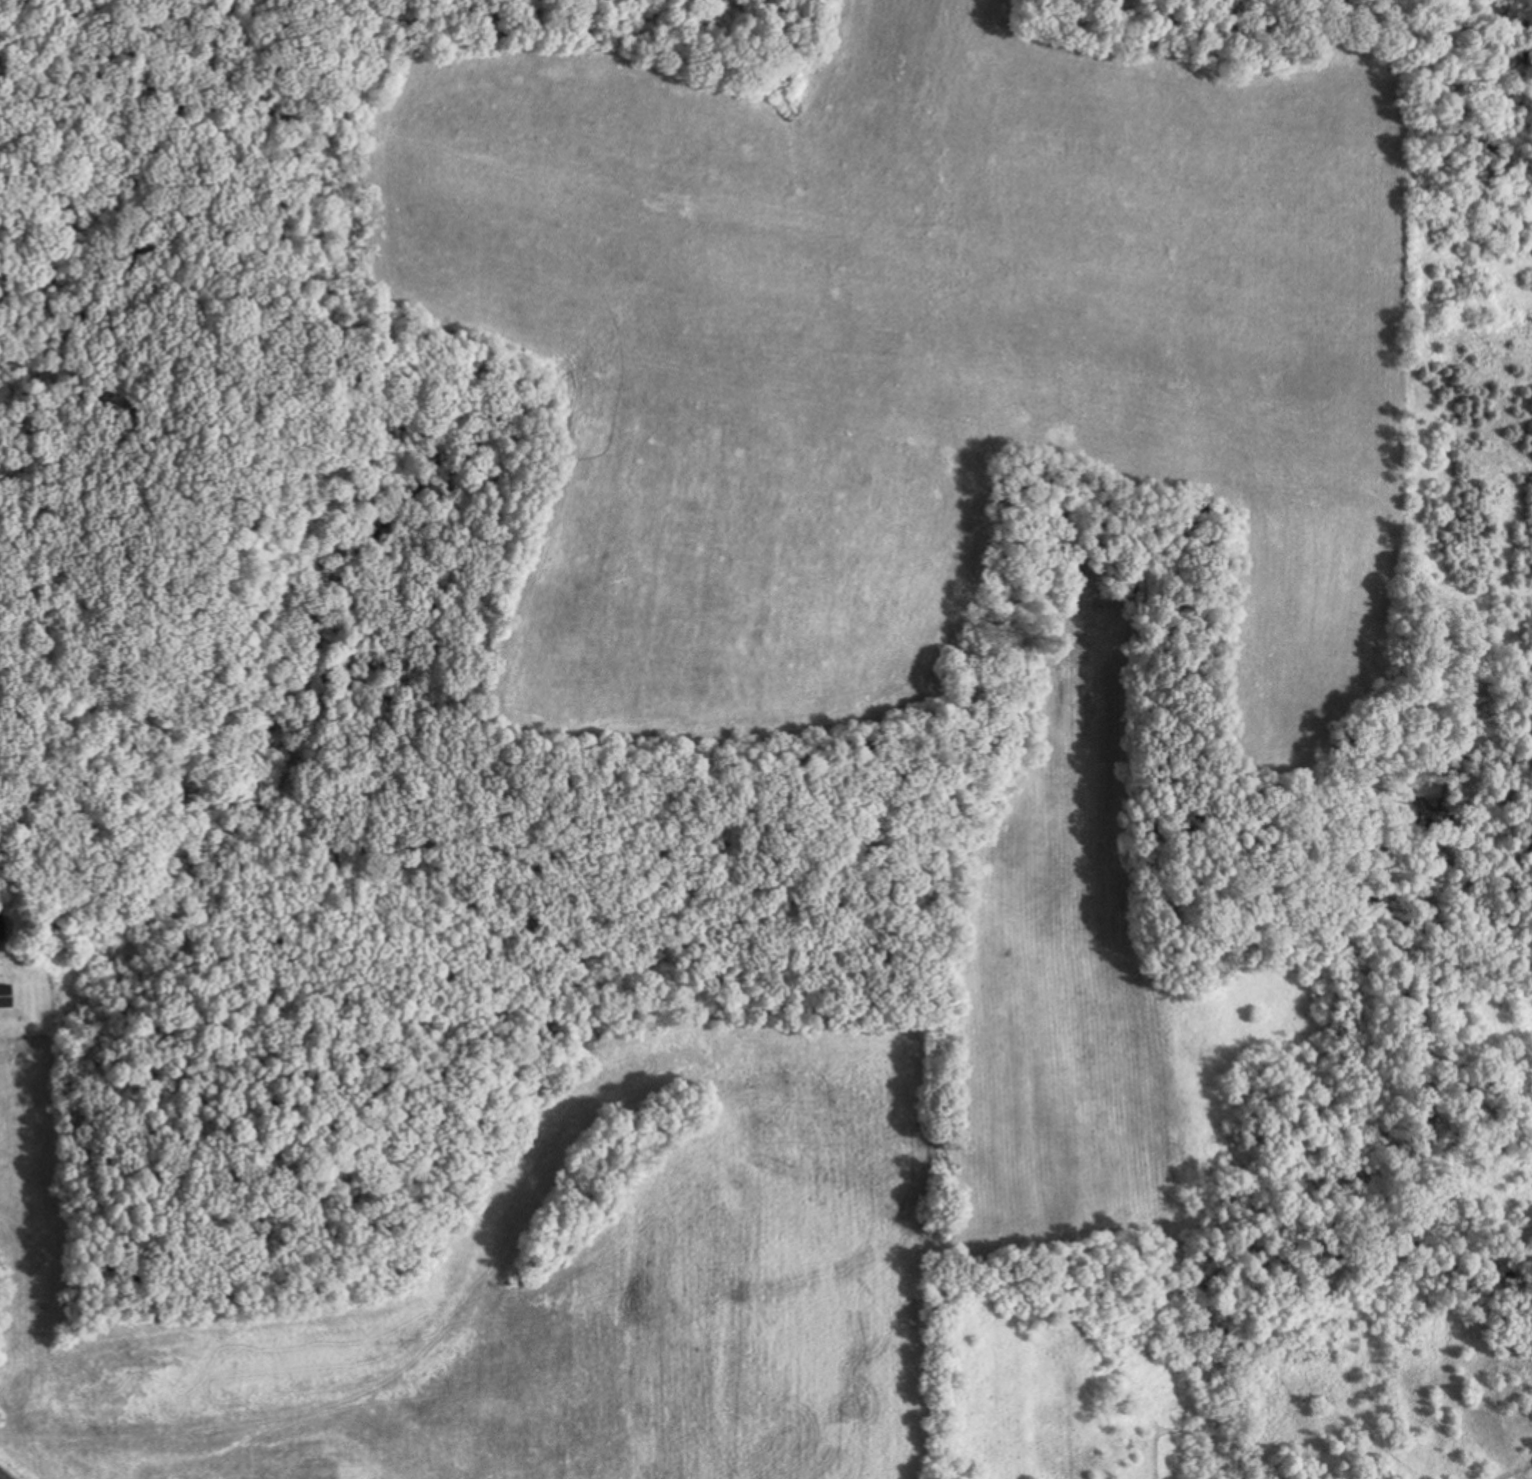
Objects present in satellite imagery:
crop: (918, 347)
building: (3, 927)
crop: (1087, 986)
building: (7, 995)
crop: (530, 1314)
road: (1, 1477)

